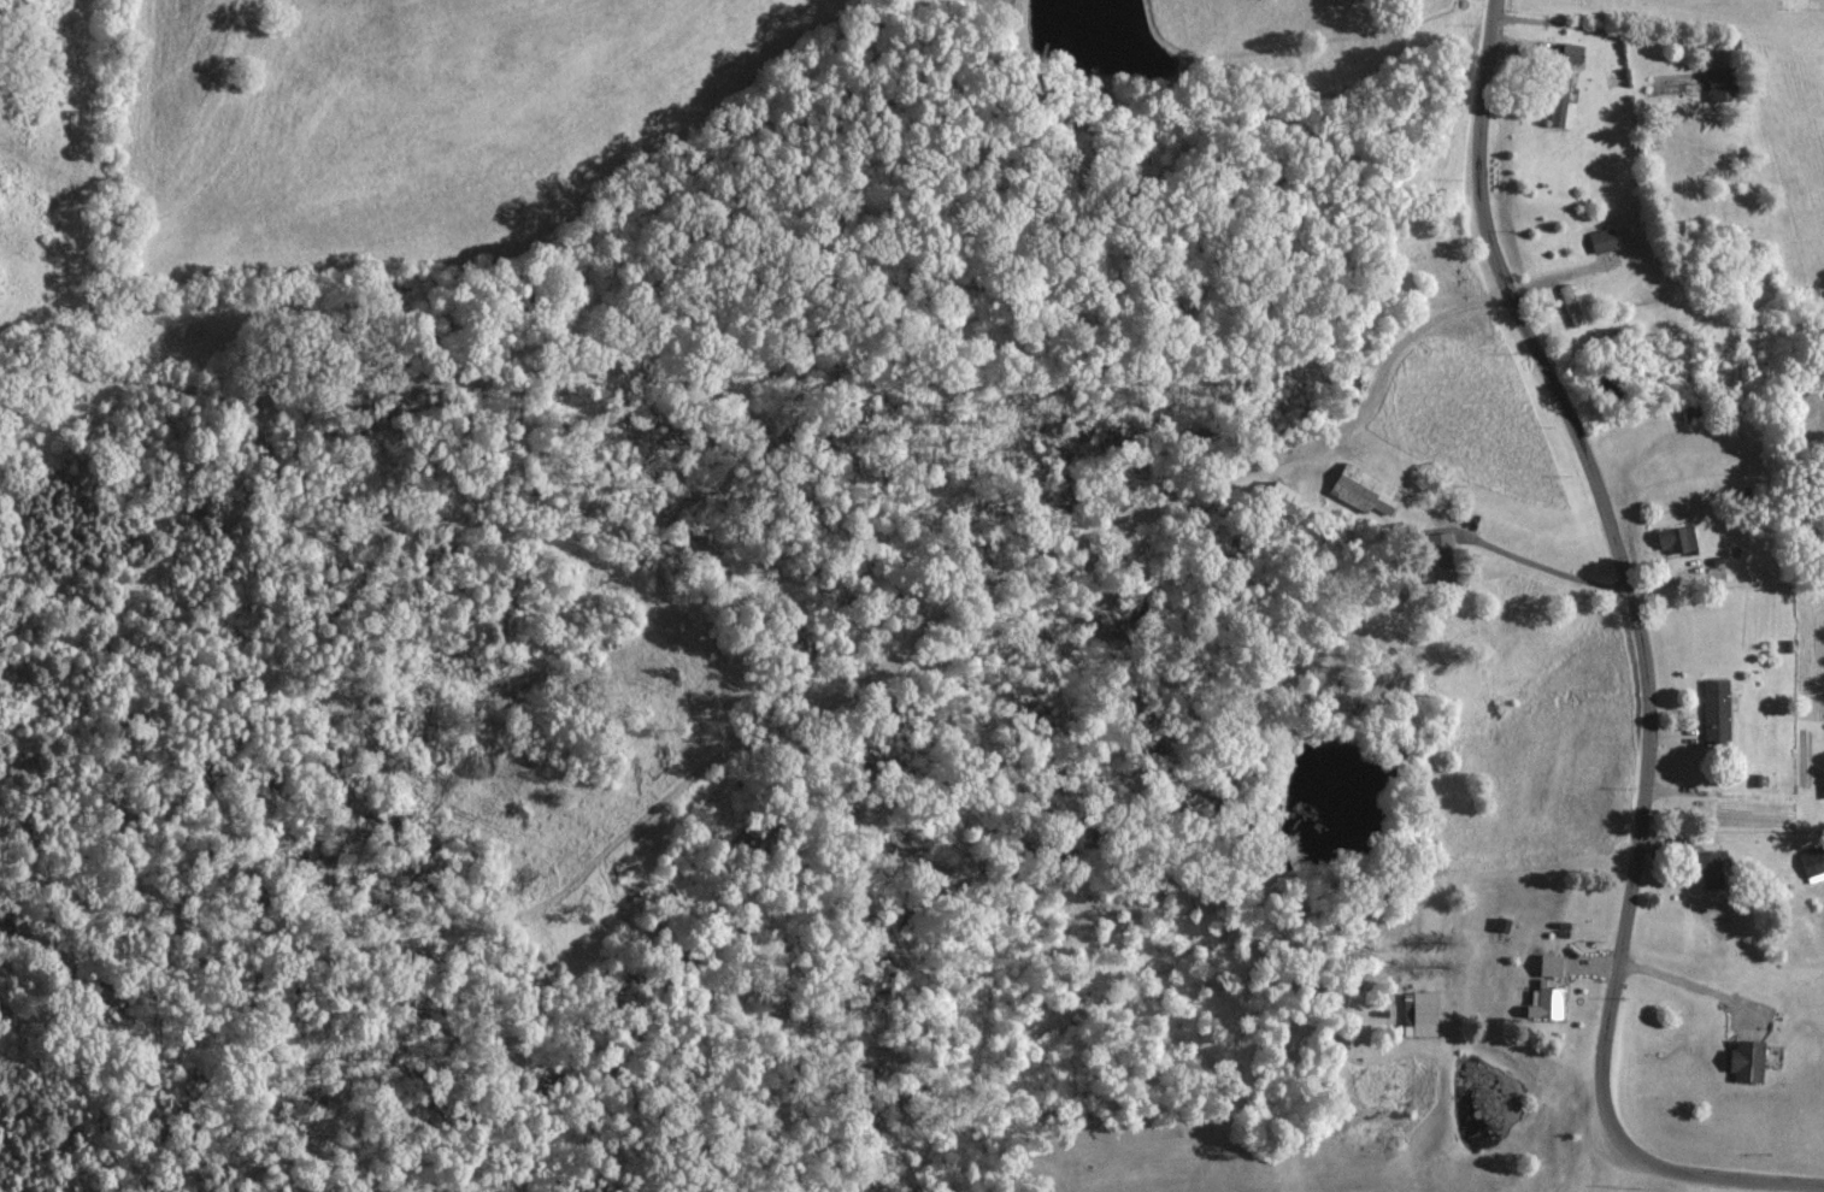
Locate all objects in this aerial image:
building: (1570, 53)
building: (1561, 78)
building: (1718, 84)
building: (1602, 241)
building: (1570, 306)
building: (1361, 490)
building: (1278, 496)
building: (1677, 538)
building: (1436, 556)
road: (1540, 563)
road: (1643, 666)
building: (1714, 713)
building: (1822, 781)
building: (1812, 863)
building: (1707, 869)
building: (1551, 964)
road: (1679, 975)
building: (1420, 1015)
building: (1746, 1060)

